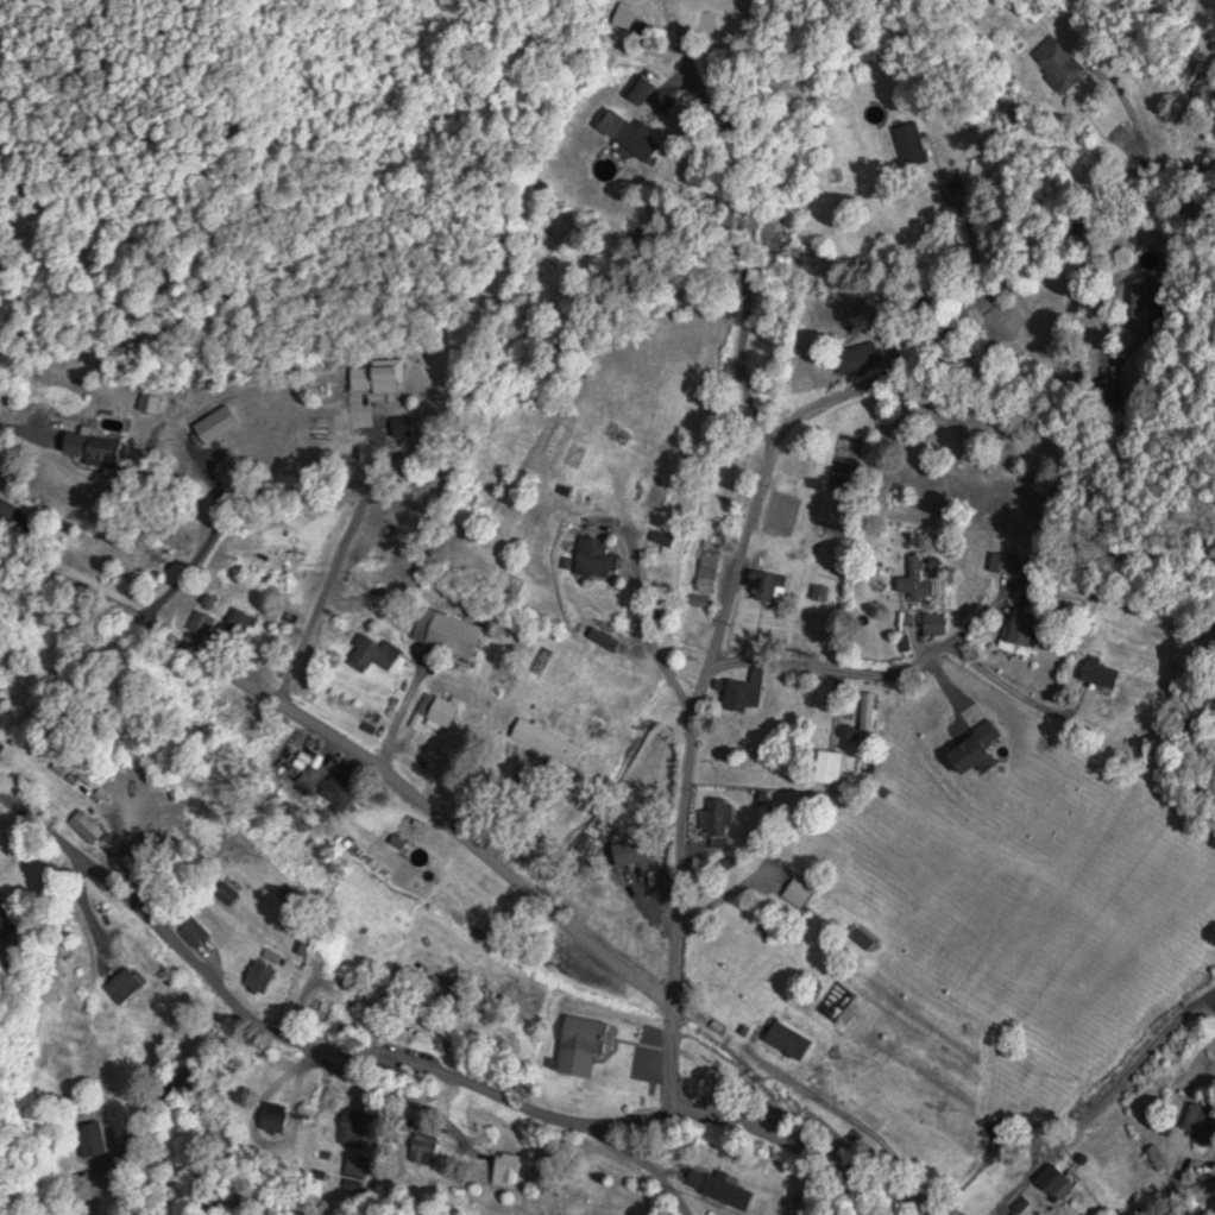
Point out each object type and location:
building: (1056, 63)
building: (640, 88)
building: (637, 139)
building: (912, 141)
road: (837, 264)
building: (1144, 308)
building: (851, 355)
building: (374, 377)
building: (216, 423)
building: (92, 447)
building: (372, 535)
building: (604, 544)
road: (342, 549)
building: (596, 558)
building: (1005, 562)
building: (709, 566)
building: (270, 578)
building: (919, 578)
building: (768, 585)
road: (1131, 607)
road: (758, 611)
building: (202, 622)
building: (240, 623)
building: (1021, 627)
building: (373, 653)
building: (1100, 674)
building: (742, 692)
building: (437, 707)
building: (867, 718)
road: (351, 741)
building: (548, 742)
building: (829, 767)
building: (338, 794)
building: (717, 817)
building: (88, 827)
building: (773, 864)
building: (655, 875)
building: (226, 894)
building: (801, 895)
building: (630, 908)
building: (194, 932)
building: (263, 970)
building: (124, 986)
building: (326, 1009)
road: (697, 1021)
building: (959, 1030)
building: (787, 1040)
building: (581, 1044)
building: (88, 1066)
road: (442, 1075)
road: (1101, 1098)
building: (1202, 1116)
building: (276, 1119)
building: (353, 1128)
building: (424, 1148)
road: (646, 1164)
building: (355, 1167)
building: (506, 1170)
building: (1056, 1183)
road: (1172, 1191)
building: (729, 1192)

